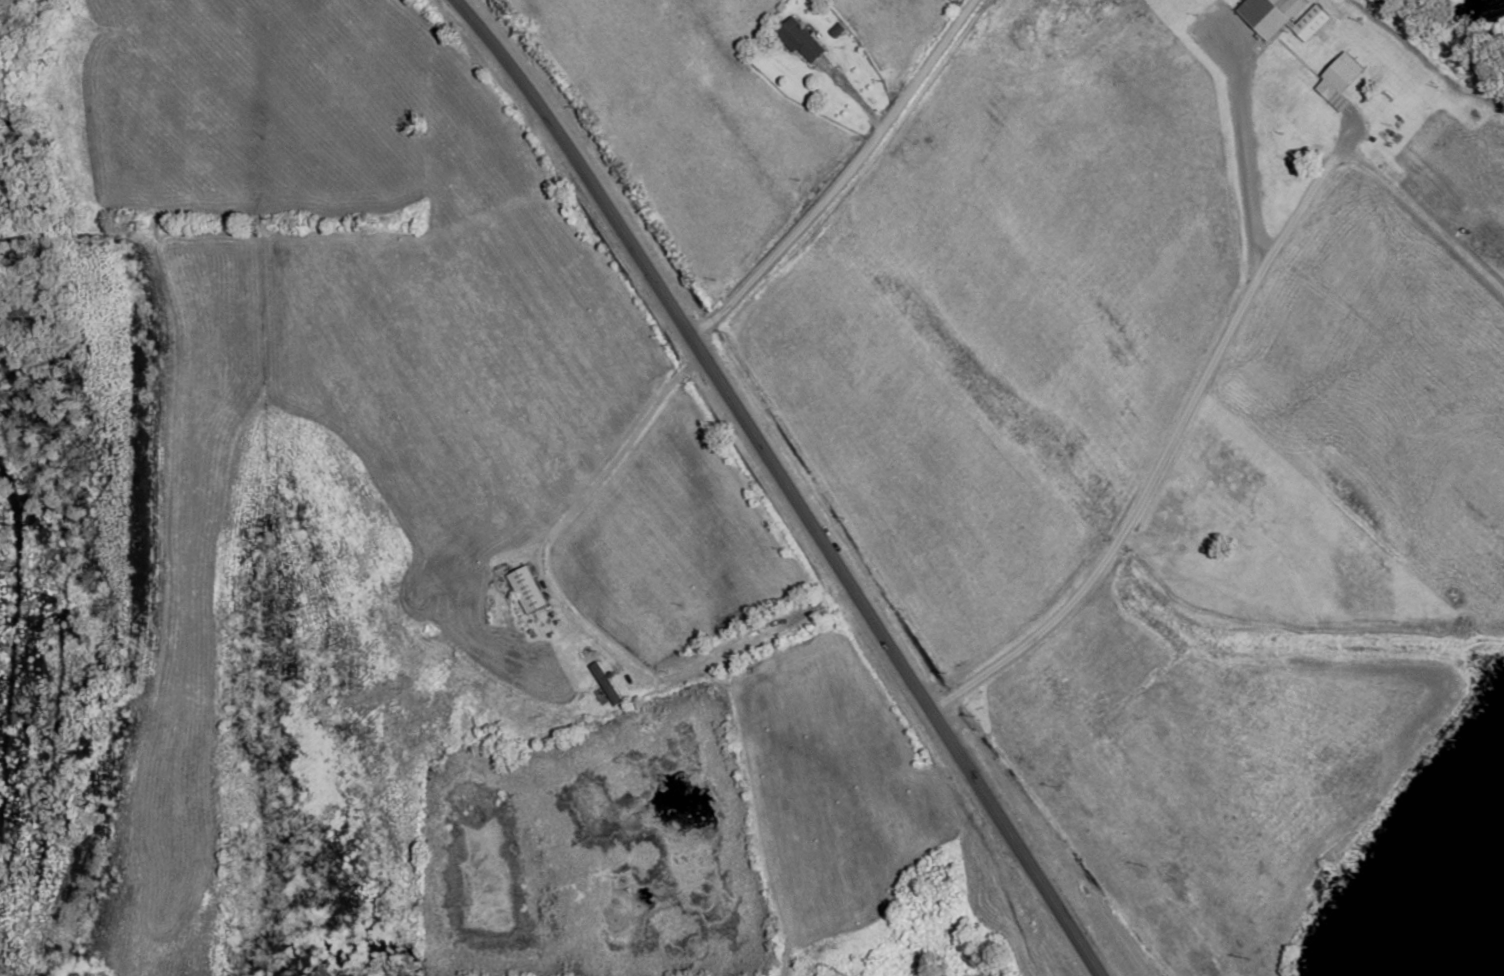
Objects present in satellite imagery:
building: (1270, 16)
building: (801, 40)
building: (1340, 81)
road: (842, 178)
road: (1170, 441)
road: (781, 485)
building: (528, 588)
building: (606, 683)

